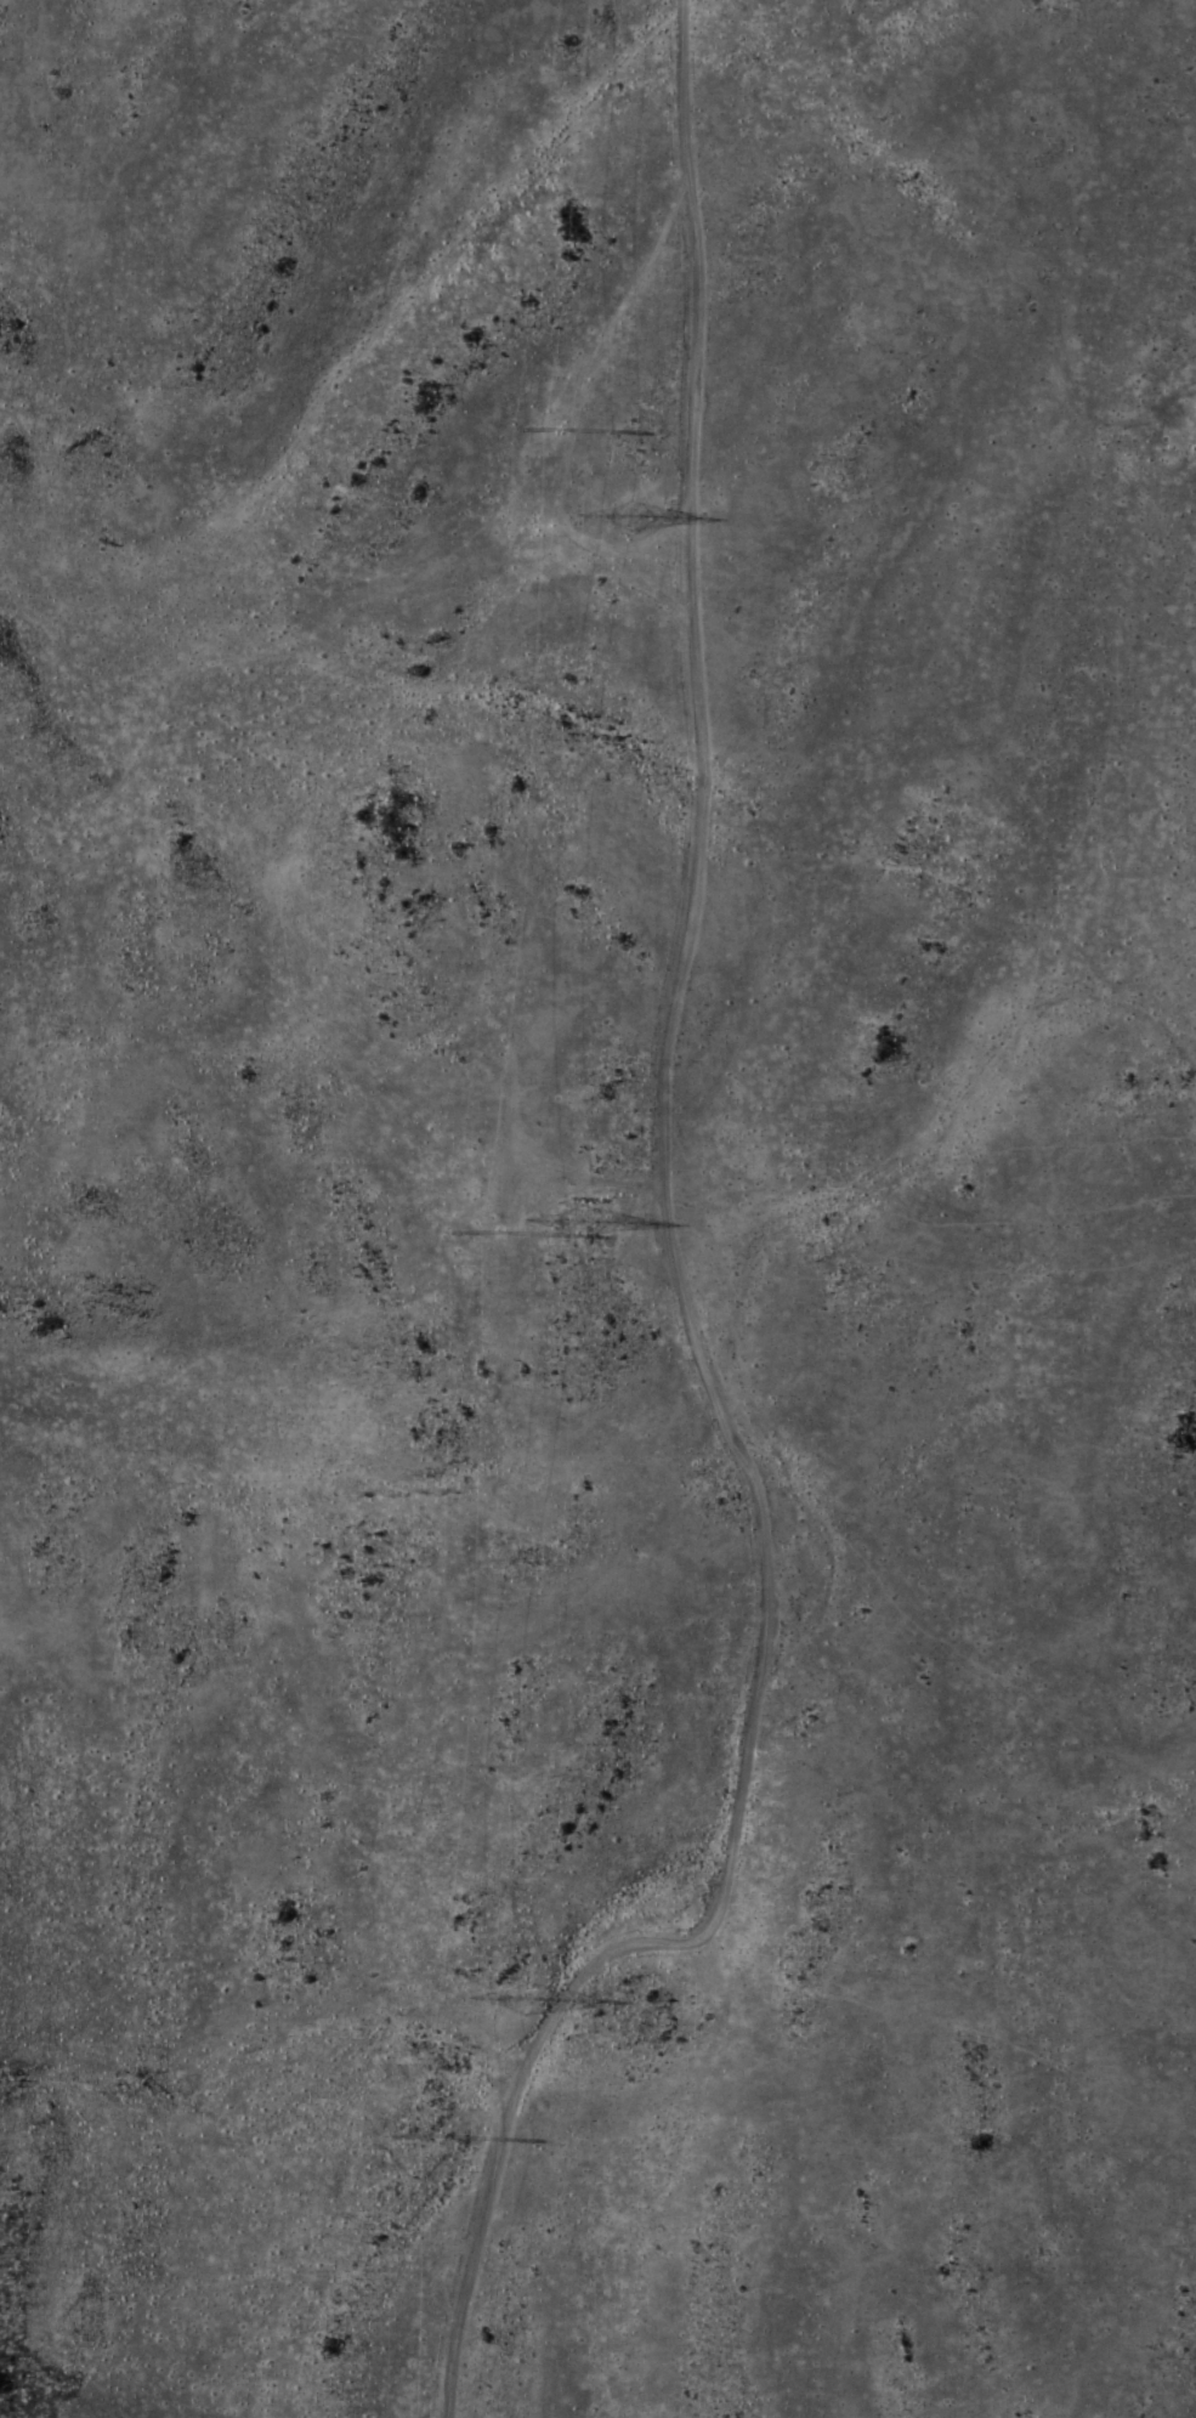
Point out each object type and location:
power tower: (561, 420)
power tower: (624, 517)
power tower: (589, 1216)
power tower: (503, 1231)
road: (675, 1278)
power tower: (525, 2003)
power tower: (443, 2131)

